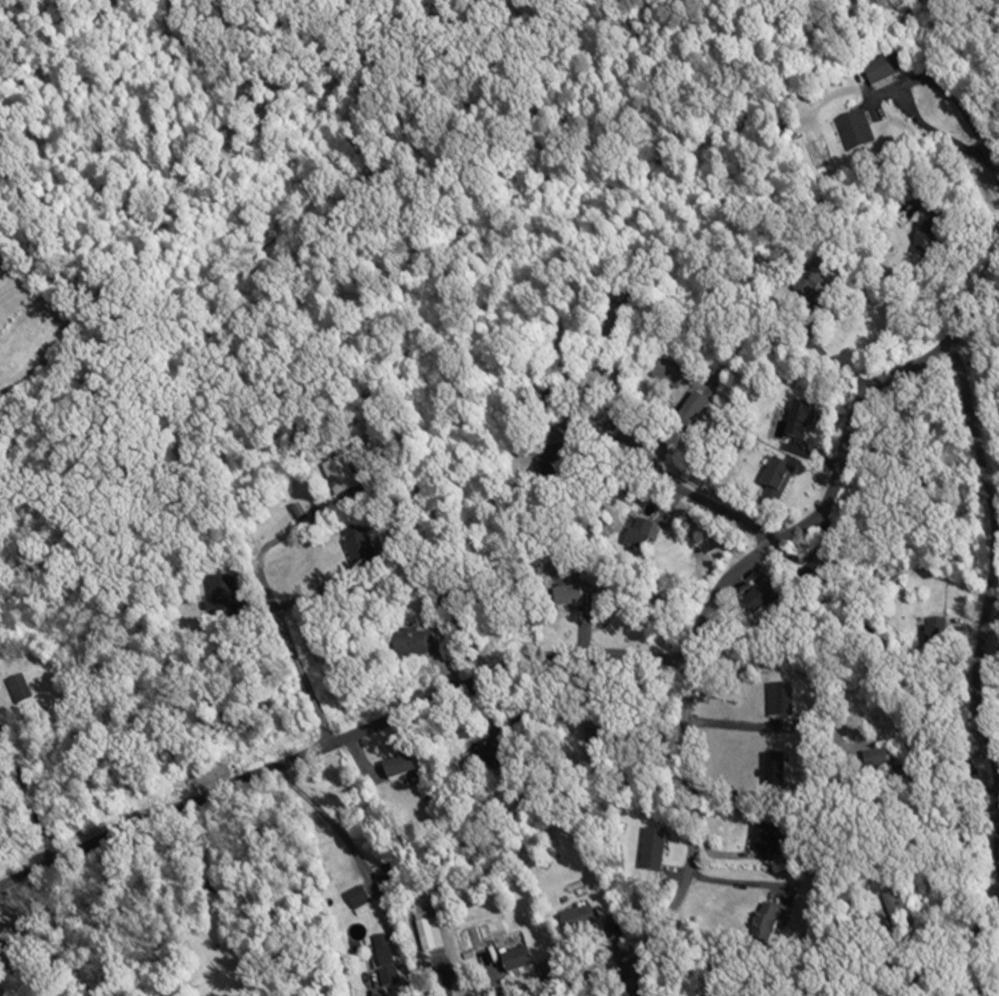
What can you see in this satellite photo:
building: (877, 73)
road: (908, 82)
building: (855, 131)
road: (994, 167)
building: (920, 240)
road: (831, 361)
building: (688, 414)
building: (799, 423)
building: (551, 460)
building: (773, 486)
road: (699, 499)
building: (358, 550)
road: (725, 577)
building: (222, 596)
road: (985, 609)
road: (285, 621)
building: (934, 639)
building: (411, 644)
building: (16, 690)
road: (335, 728)
building: (397, 768)
road: (940, 771)
road: (29, 779)
building: (760, 837)
building: (354, 900)
building: (577, 922)
building: (762, 924)
building: (382, 961)
building: (514, 961)
road: (593, 977)

